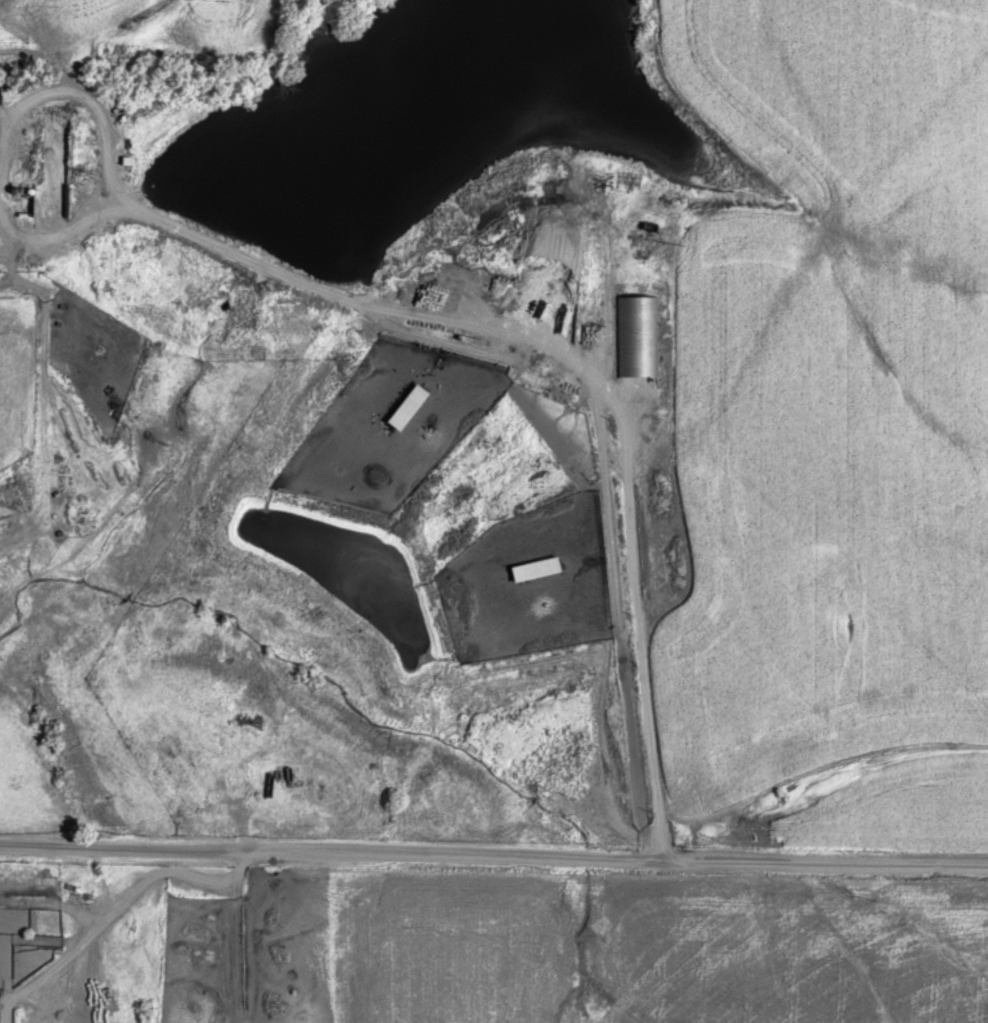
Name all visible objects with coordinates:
road: (581, 372)
building: (412, 409)
building: (539, 570)
road: (494, 858)

